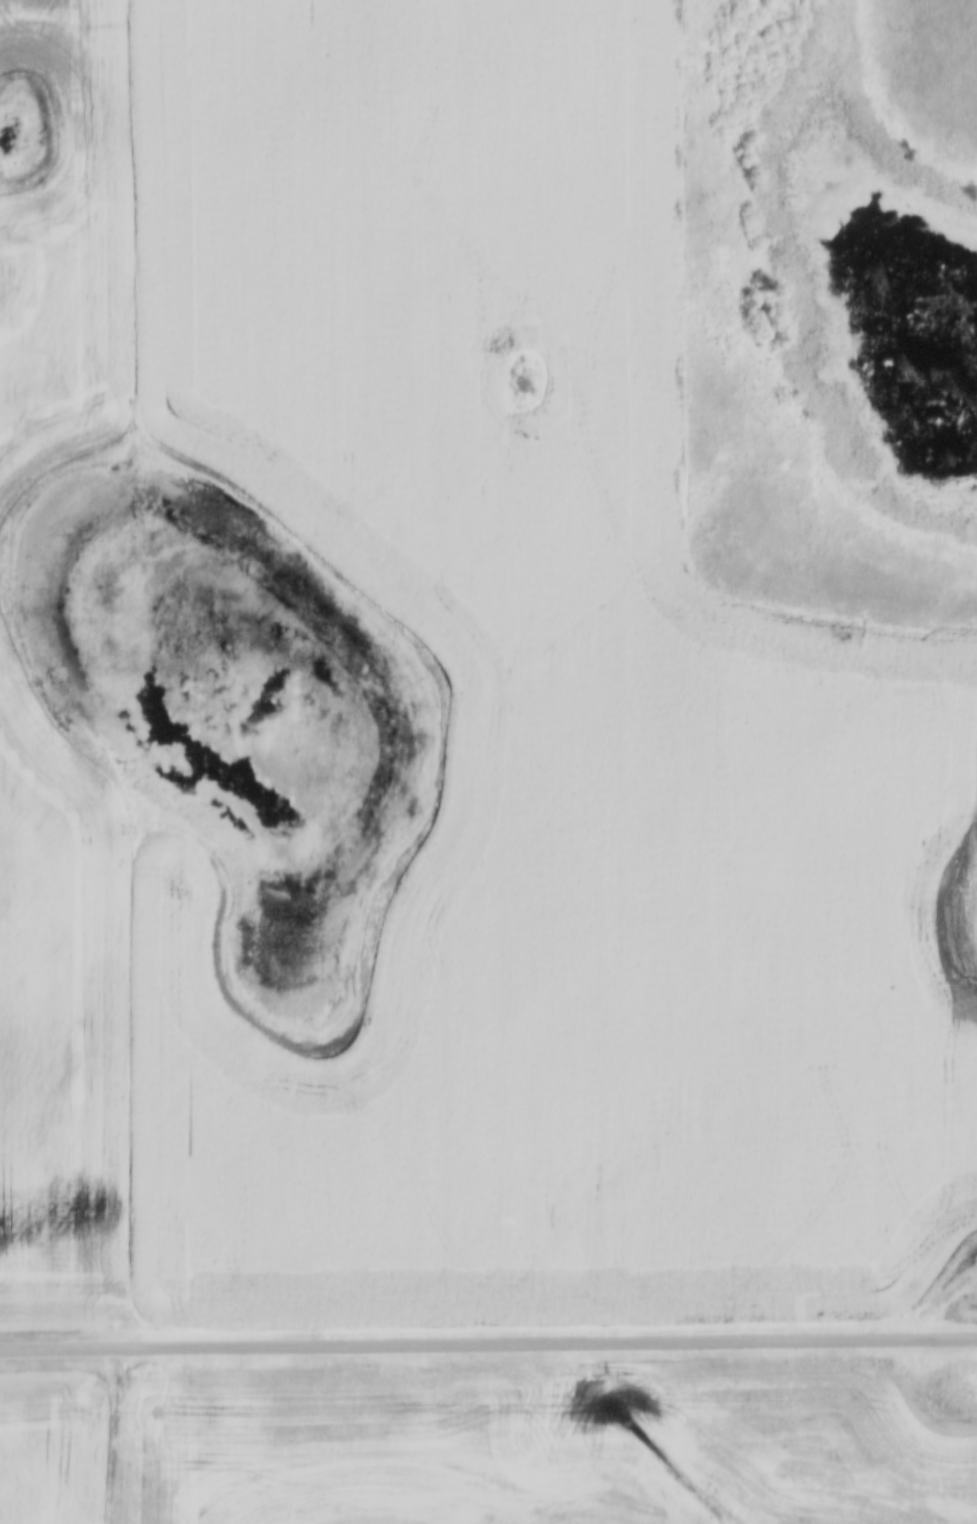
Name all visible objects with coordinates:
road: (488, 1348)

